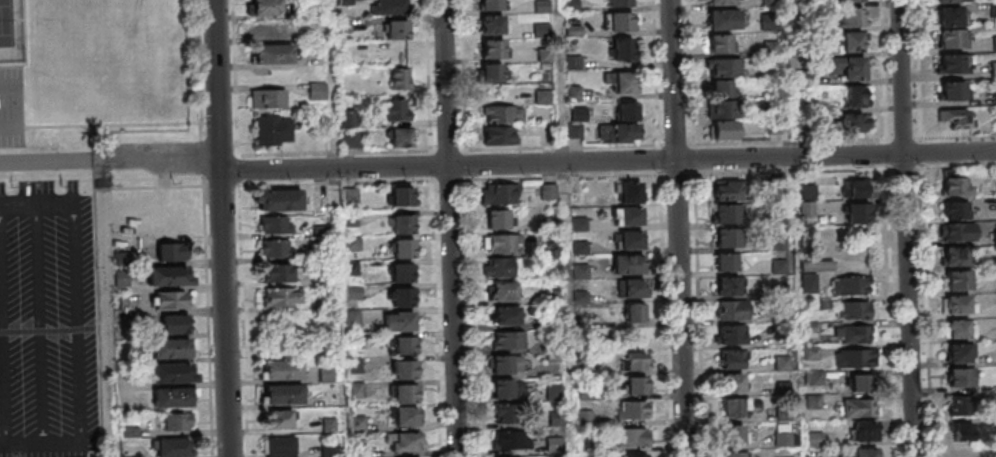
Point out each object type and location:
building: (855, 1)
building: (722, 2)
building: (952, 2)
building: (620, 3)
building: (490, 4)
building: (571, 4)
building: (267, 8)
building: (393, 8)
building: (854, 18)
building: (953, 18)
building: (723, 19)
building: (619, 21)
building: (492, 24)
building: (574, 28)
building: (397, 29)
park: (11, 32)
building: (954, 40)
building: (852, 41)
road: (24, 43)
building: (720, 43)
building: (493, 48)
building: (624, 48)
building: (397, 53)
building: (276, 55)
building: (956, 65)
building: (723, 67)
building: (847, 67)
building: (993, 69)
building: (491, 73)
building: (399, 78)
building: (621, 81)
building: (321, 91)
building: (957, 92)
building: (574, 93)
building: (543, 96)
building: (995, 96)
building: (855, 97)
building: (723, 99)
building: (272, 100)
road: (18, 106)
parking lot: (12, 109)
building: (397, 109)
building: (627, 111)
building: (995, 113)
building: (503, 114)
building: (349, 118)
building: (958, 118)
building: (577, 120)
road: (217, 121)
building: (855, 122)
road: (109, 124)
building: (726, 130)
building: (276, 131)
building: (618, 132)
building: (502, 135)
building: (400, 136)
building: (350, 138)
road: (908, 139)
road: (113, 159)
road: (610, 161)
road: (284, 182)
building: (954, 183)
building: (552, 192)
building: (630, 192)
building: (499, 193)
building: (729, 193)
building: (811, 193)
building: (354, 196)
building: (405, 198)
building: (277, 200)
building: (858, 201)
road: (36, 205)
building: (956, 210)
building: (730, 215)
building: (498, 218)
building: (633, 218)
building: (354, 220)
building: (276, 224)
building: (553, 224)
building: (583, 225)
building: (407, 226)
road: (204, 228)
road: (225, 228)
road: (454, 228)
road: (682, 228)
road: (911, 228)
building: (959, 231)
building: (730, 239)
building: (634, 241)
building: (501, 243)
building: (783, 243)
building: (355, 244)
building: (277, 248)
building: (584, 248)
building: (406, 250)
building: (171, 251)
building: (958, 255)
building: (730, 264)
building: (816, 265)
building: (634, 266)
building: (499, 267)
building: (783, 268)
building: (354, 269)
building: (584, 272)
building: (280, 273)
building: (404, 274)
building: (170, 276)
building: (958, 279)
building: (812, 282)
building: (851, 286)
building: (731, 287)
building: (635, 290)
building: (357, 293)
building: (507, 293)
building: (784, 293)
building: (282, 297)
building: (584, 297)
building: (405, 298)
building: (555, 298)
building: (170, 300)
road: (668, 300)
building: (959, 304)
road: (108, 308)
building: (854, 310)
building: (733, 312)
building: (638, 314)
building: (785, 314)
building: (356, 317)
building: (509, 317)
parking lot: (48, 322)
building: (557, 322)
road: (77, 323)
building: (174, 324)
building: (402, 324)
road: (39, 325)
building: (959, 328)
road: (54, 330)
building: (854, 333)
building: (734, 336)
building: (509, 341)
building: (358, 342)
building: (557, 346)
road: (2, 347)
building: (407, 347)
building: (174, 351)
building: (960, 352)
building: (815, 354)
building: (854, 358)
building: (735, 361)
building: (638, 363)
building: (507, 364)
building: (786, 364)
building: (358, 366)
building: (281, 369)
building: (588, 369)
building: (407, 371)
building: (173, 375)
building: (330, 376)
building: (959, 377)
building: (819, 378)
building: (735, 384)
building: (865, 384)
building: (508, 388)
building: (639, 388)
building: (787, 389)
building: (359, 391)
building: (282, 393)
building: (587, 393)
building: (557, 394)
building: (409, 395)
building: (175, 399)
building: (816, 402)
building: (961, 405)
building: (738, 409)
building: (866, 409)
building: (639, 411)
building: (504, 413)
building: (409, 417)
building: (282, 419)
building: (589, 419)
building: (560, 420)
building: (182, 422)
building: (362, 423)
building: (963, 431)
building: (868, 432)
building: (134, 433)
building: (736, 436)
building: (634, 439)
building: (787, 440)
building: (818, 440)
building: (514, 442)
road: (40, 444)
building: (409, 444)
building: (559, 445)
building: (279, 446)
building: (176, 448)
building: (332, 451)
building: (362, 451)
building: (128, 453)
building: (844, 453)
building: (868, 453)
building: (739, 455)
building: (643, 456)

